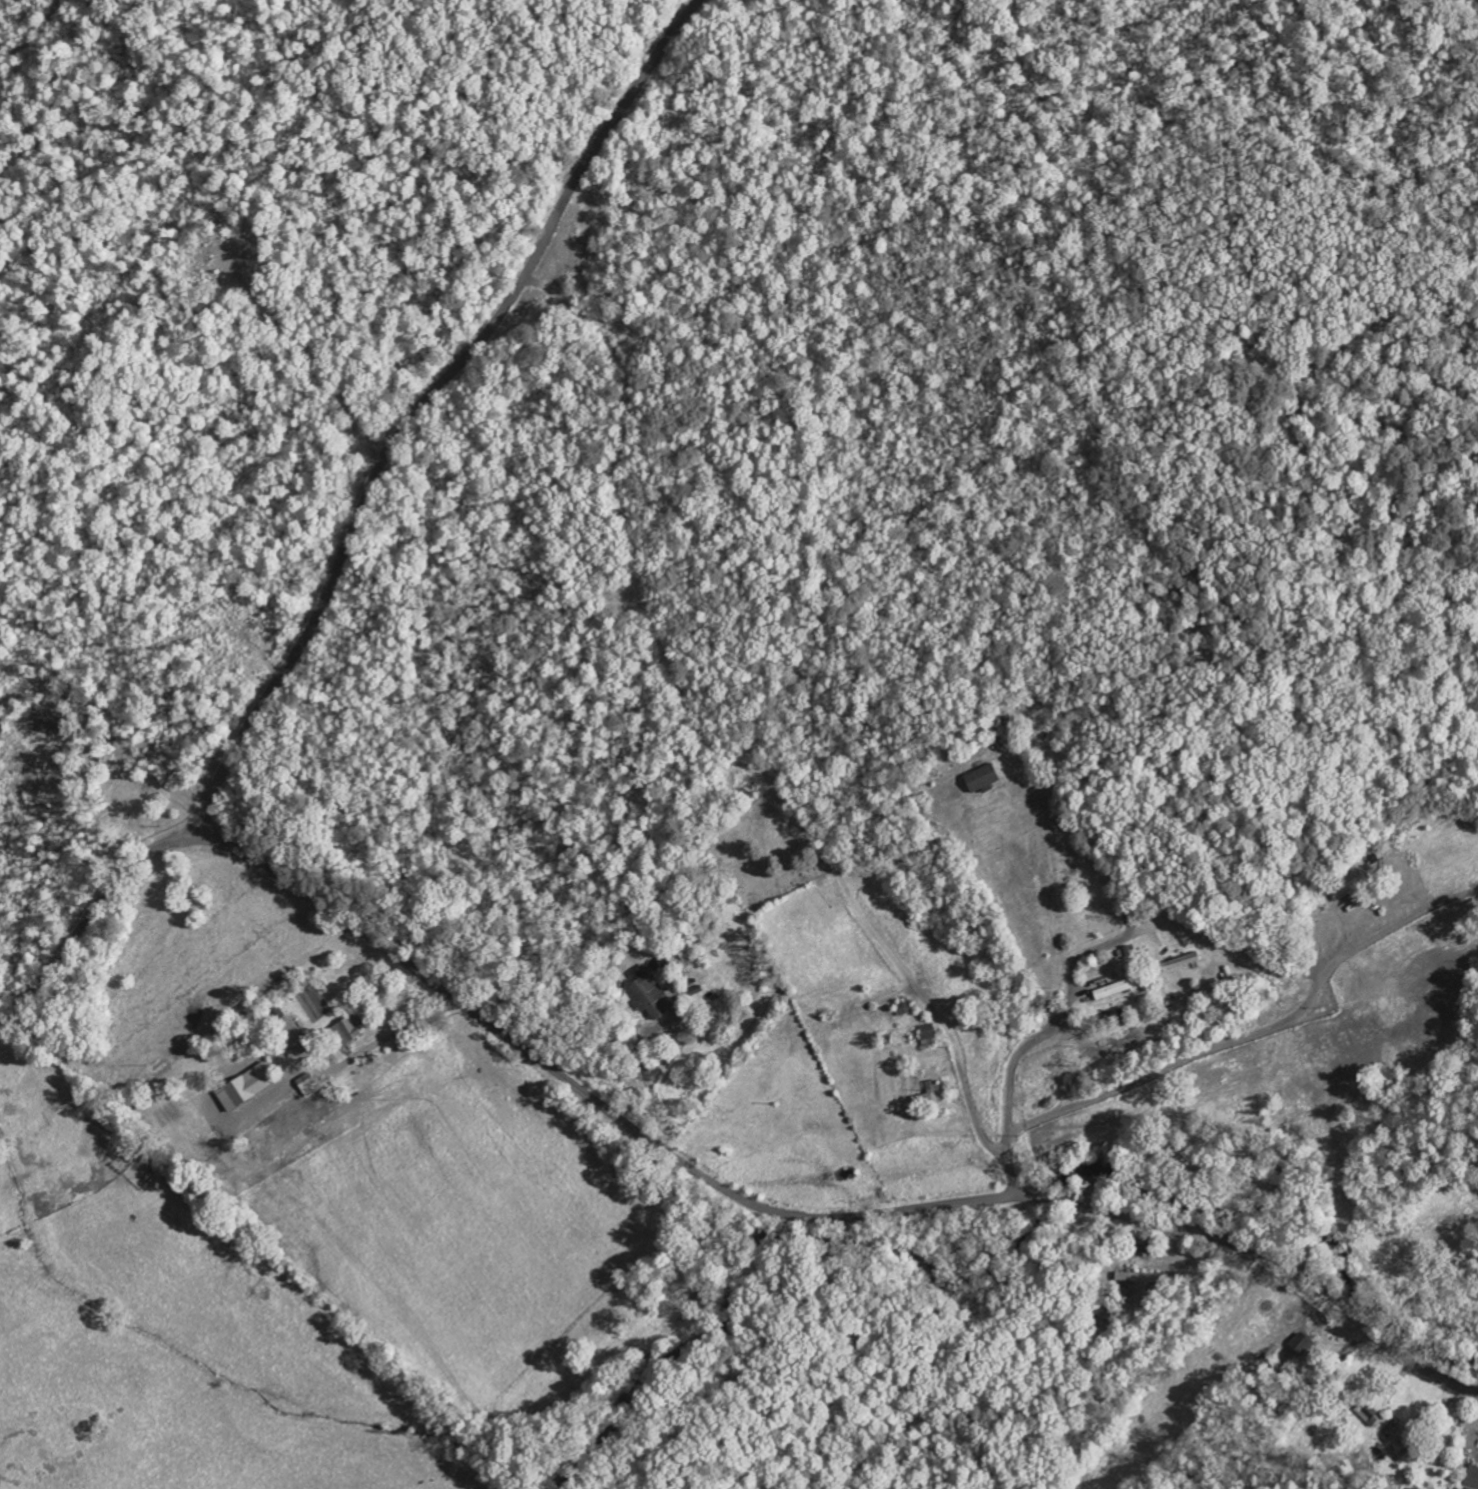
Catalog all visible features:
road: (421, 407)
building: (52, 719)
building: (987, 777)
park: (765, 849)
building: (1122, 987)
building: (655, 995)
building: (353, 1030)
building: (931, 1034)
building: (934, 1094)
road: (1070, 1110)
road: (679, 1162)
road: (1303, 1260)
building: (1141, 1277)
building: (1305, 1342)
building: (1472, 1477)

